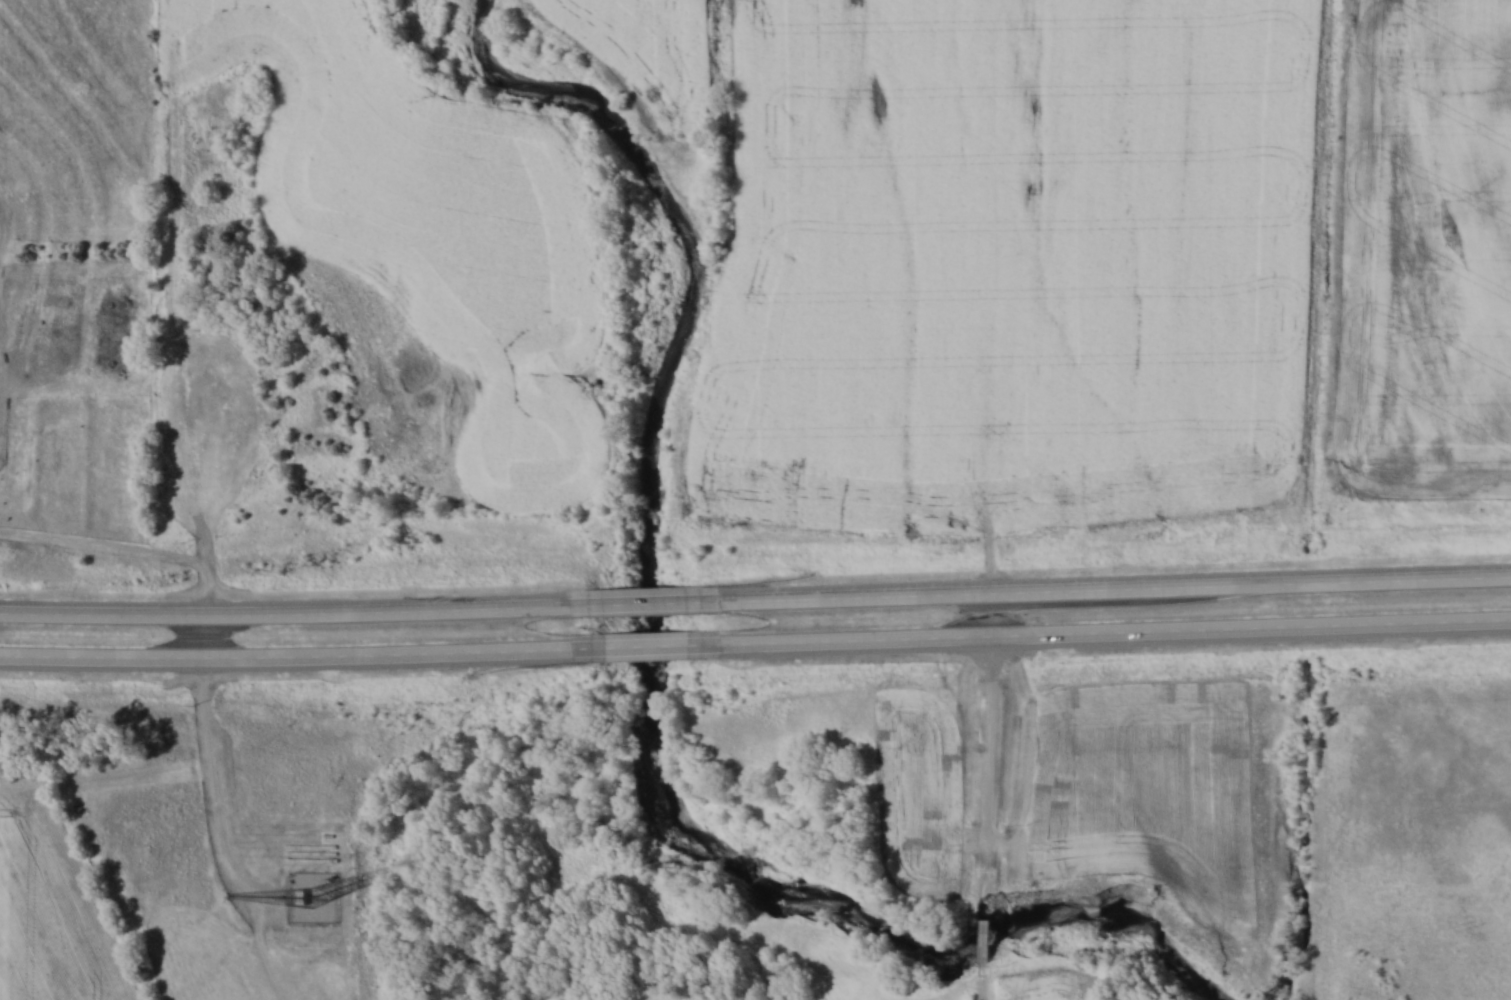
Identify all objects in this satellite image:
road: (1118, 591)
road: (647, 602)
road: (284, 615)
road: (1118, 635)
road: (647, 648)
road: (284, 661)
road: (991, 753)
road: (984, 943)
road: (982, 987)

